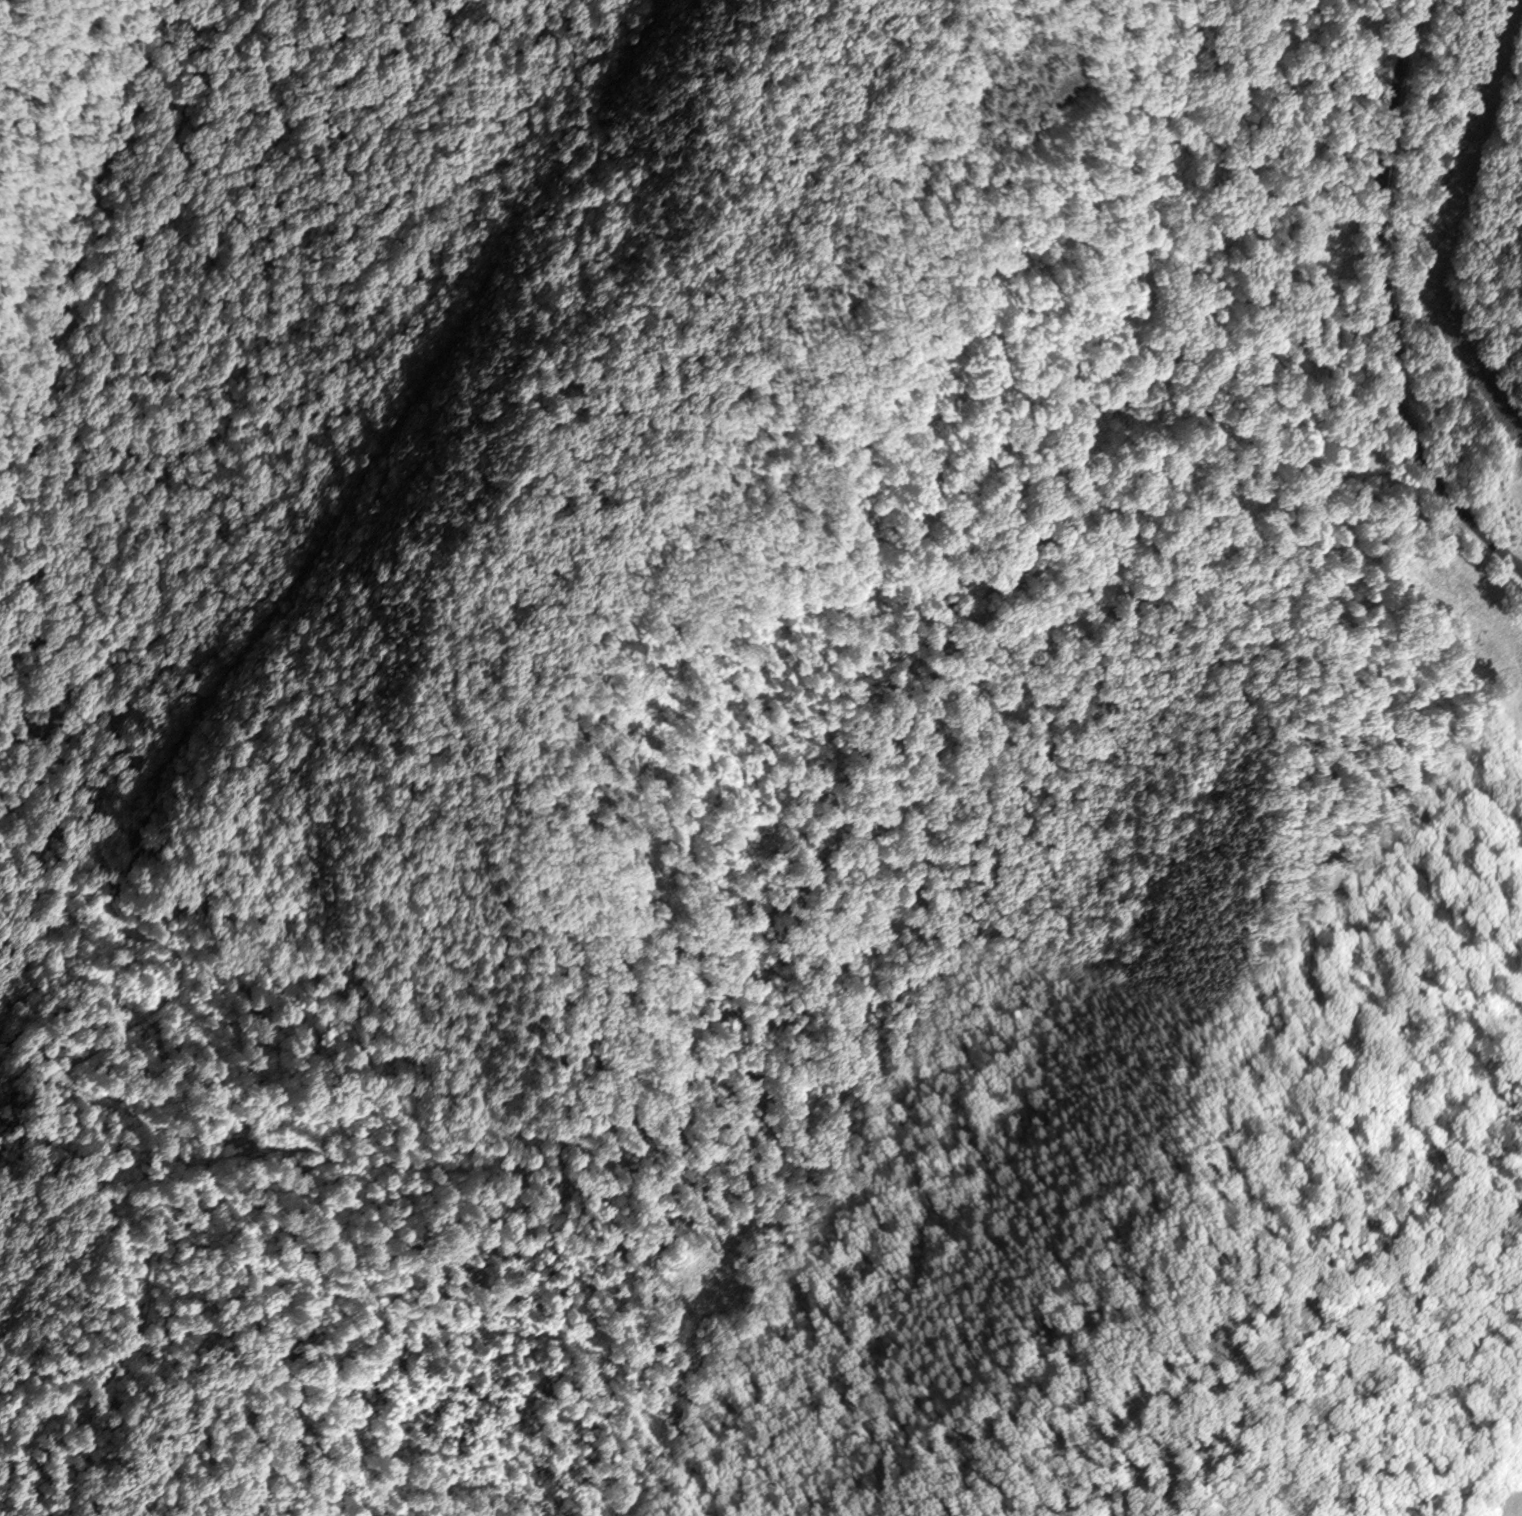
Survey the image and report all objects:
road: (1385, 304)

